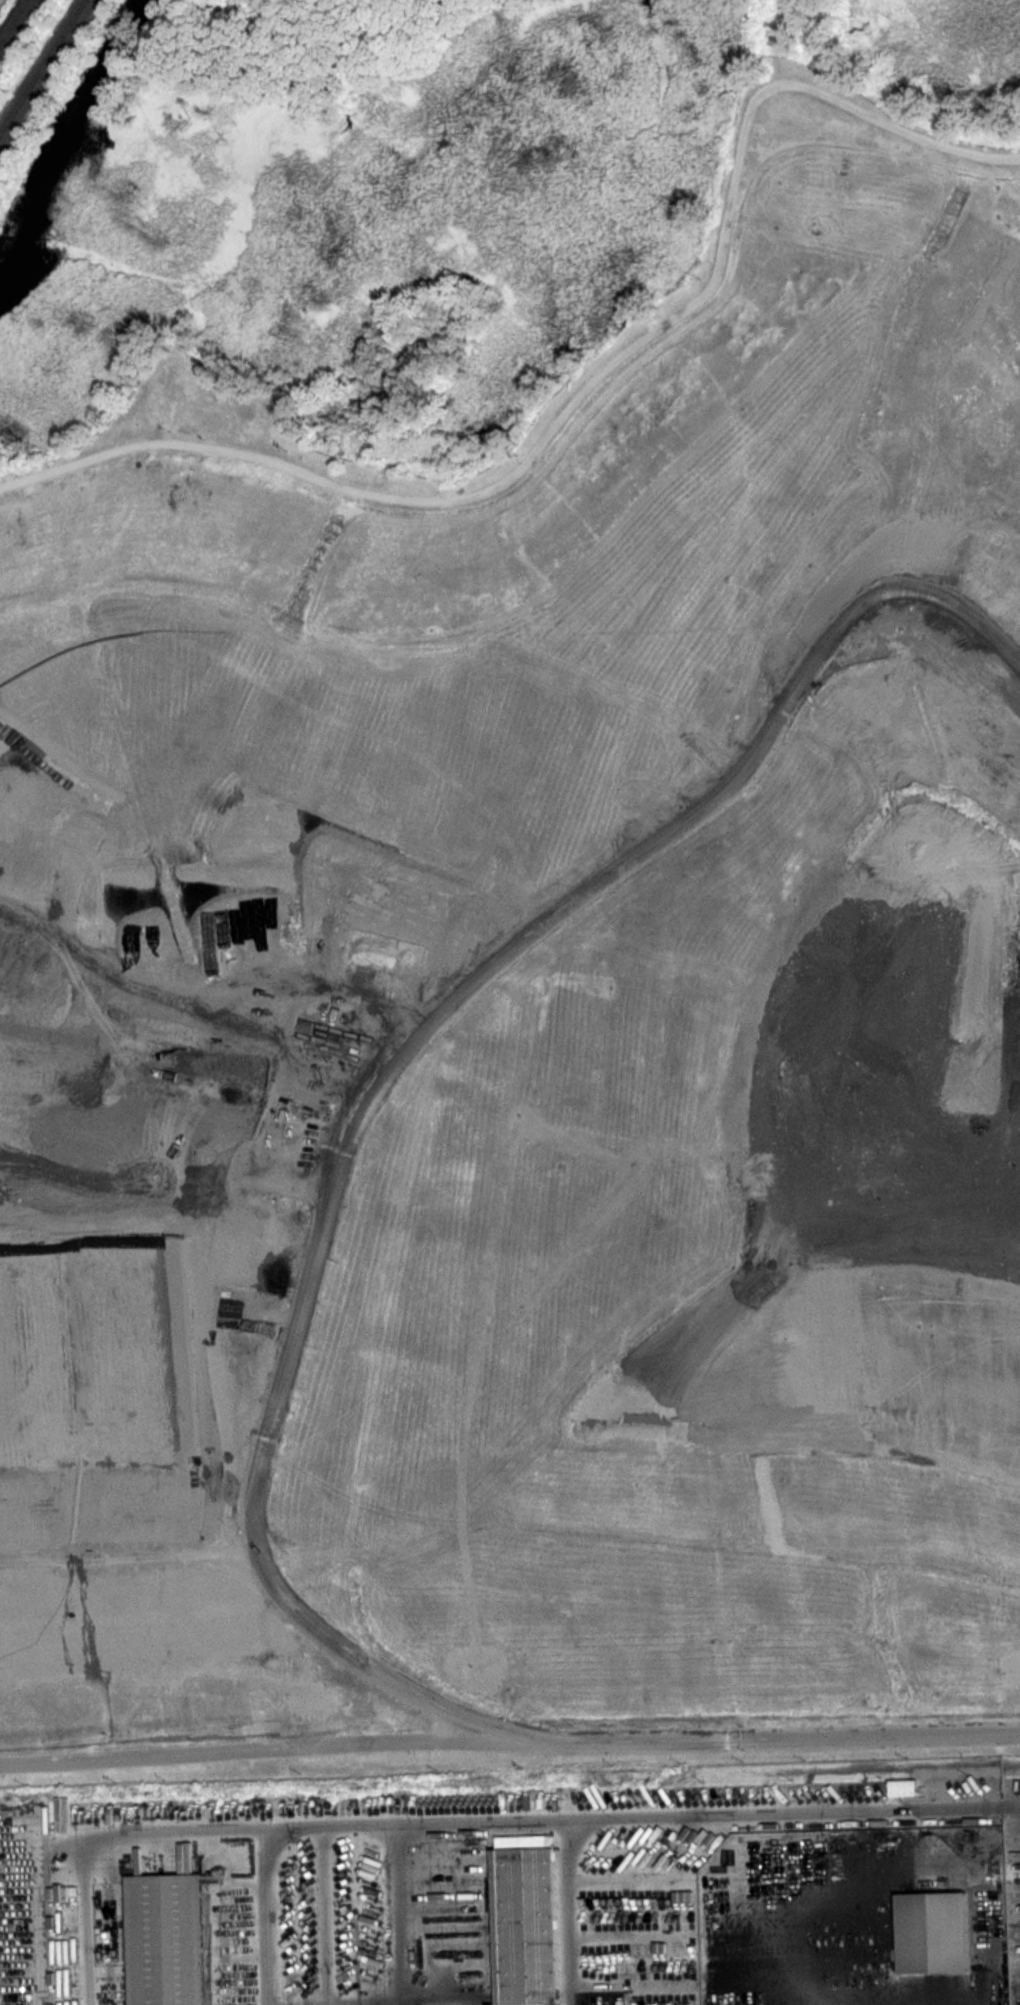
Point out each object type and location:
railway: (13, 21)
railway: (43, 67)
road: (584, 388)
landfill: (532, 1035)
road: (381, 1103)
road: (175, 1185)
road: (509, 1737)
building: (903, 1787)
road: (560, 1816)
road: (163, 1827)
parking lot: (520, 1888)
building: (527, 1920)
building: (933, 1932)
building: (165, 1936)

